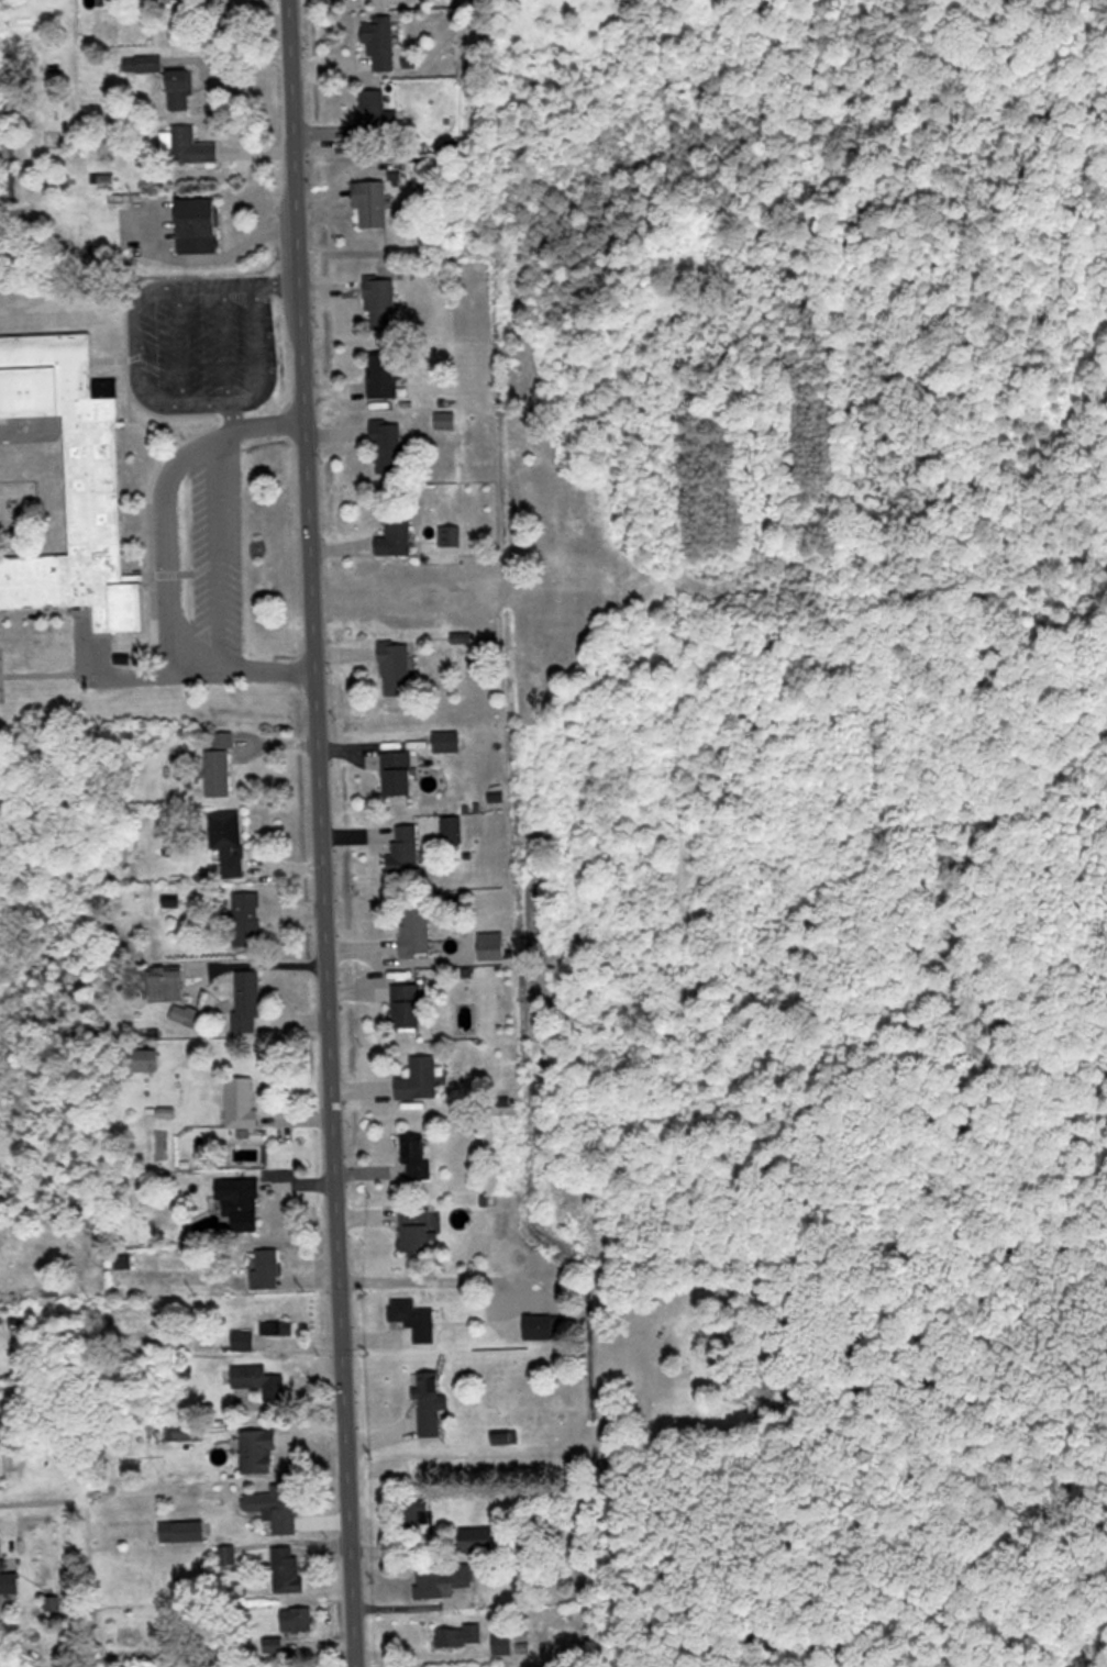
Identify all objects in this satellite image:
building: (380, 41)
building: (143, 62)
building: (180, 88)
building: (373, 114)
building: (192, 145)
building: (372, 201)
building: (199, 223)
building: (380, 300)
building: (383, 374)
building: (445, 419)
building: (387, 444)
building: (74, 479)
building: (450, 533)
building: (396, 535)
road: (164, 563)
building: (396, 666)
building: (447, 741)
building: (219, 768)
building: (397, 773)
road: (316, 833)
building: (456, 833)
building: (226, 841)
building: (405, 851)
building: (246, 919)
building: (416, 931)
building: (167, 983)
building: (246, 1000)
building: (407, 1004)
building: (185, 1013)
building: (144, 1058)
building: (419, 1078)
building: (241, 1102)
building: (417, 1157)
building: (241, 1201)
building: (416, 1230)
building: (266, 1269)
building: (411, 1312)
building: (542, 1325)
building: (243, 1340)
building: (430, 1403)
building: (186, 1431)
building: (502, 1437)
building: (258, 1451)
building: (277, 1505)
building: (414, 1515)
building: (184, 1530)
building: (478, 1538)
building: (228, 1553)
building: (287, 1569)
building: (7, 1578)
building: (441, 1578)
building: (297, 1619)
building: (458, 1635)
building: (502, 1643)

